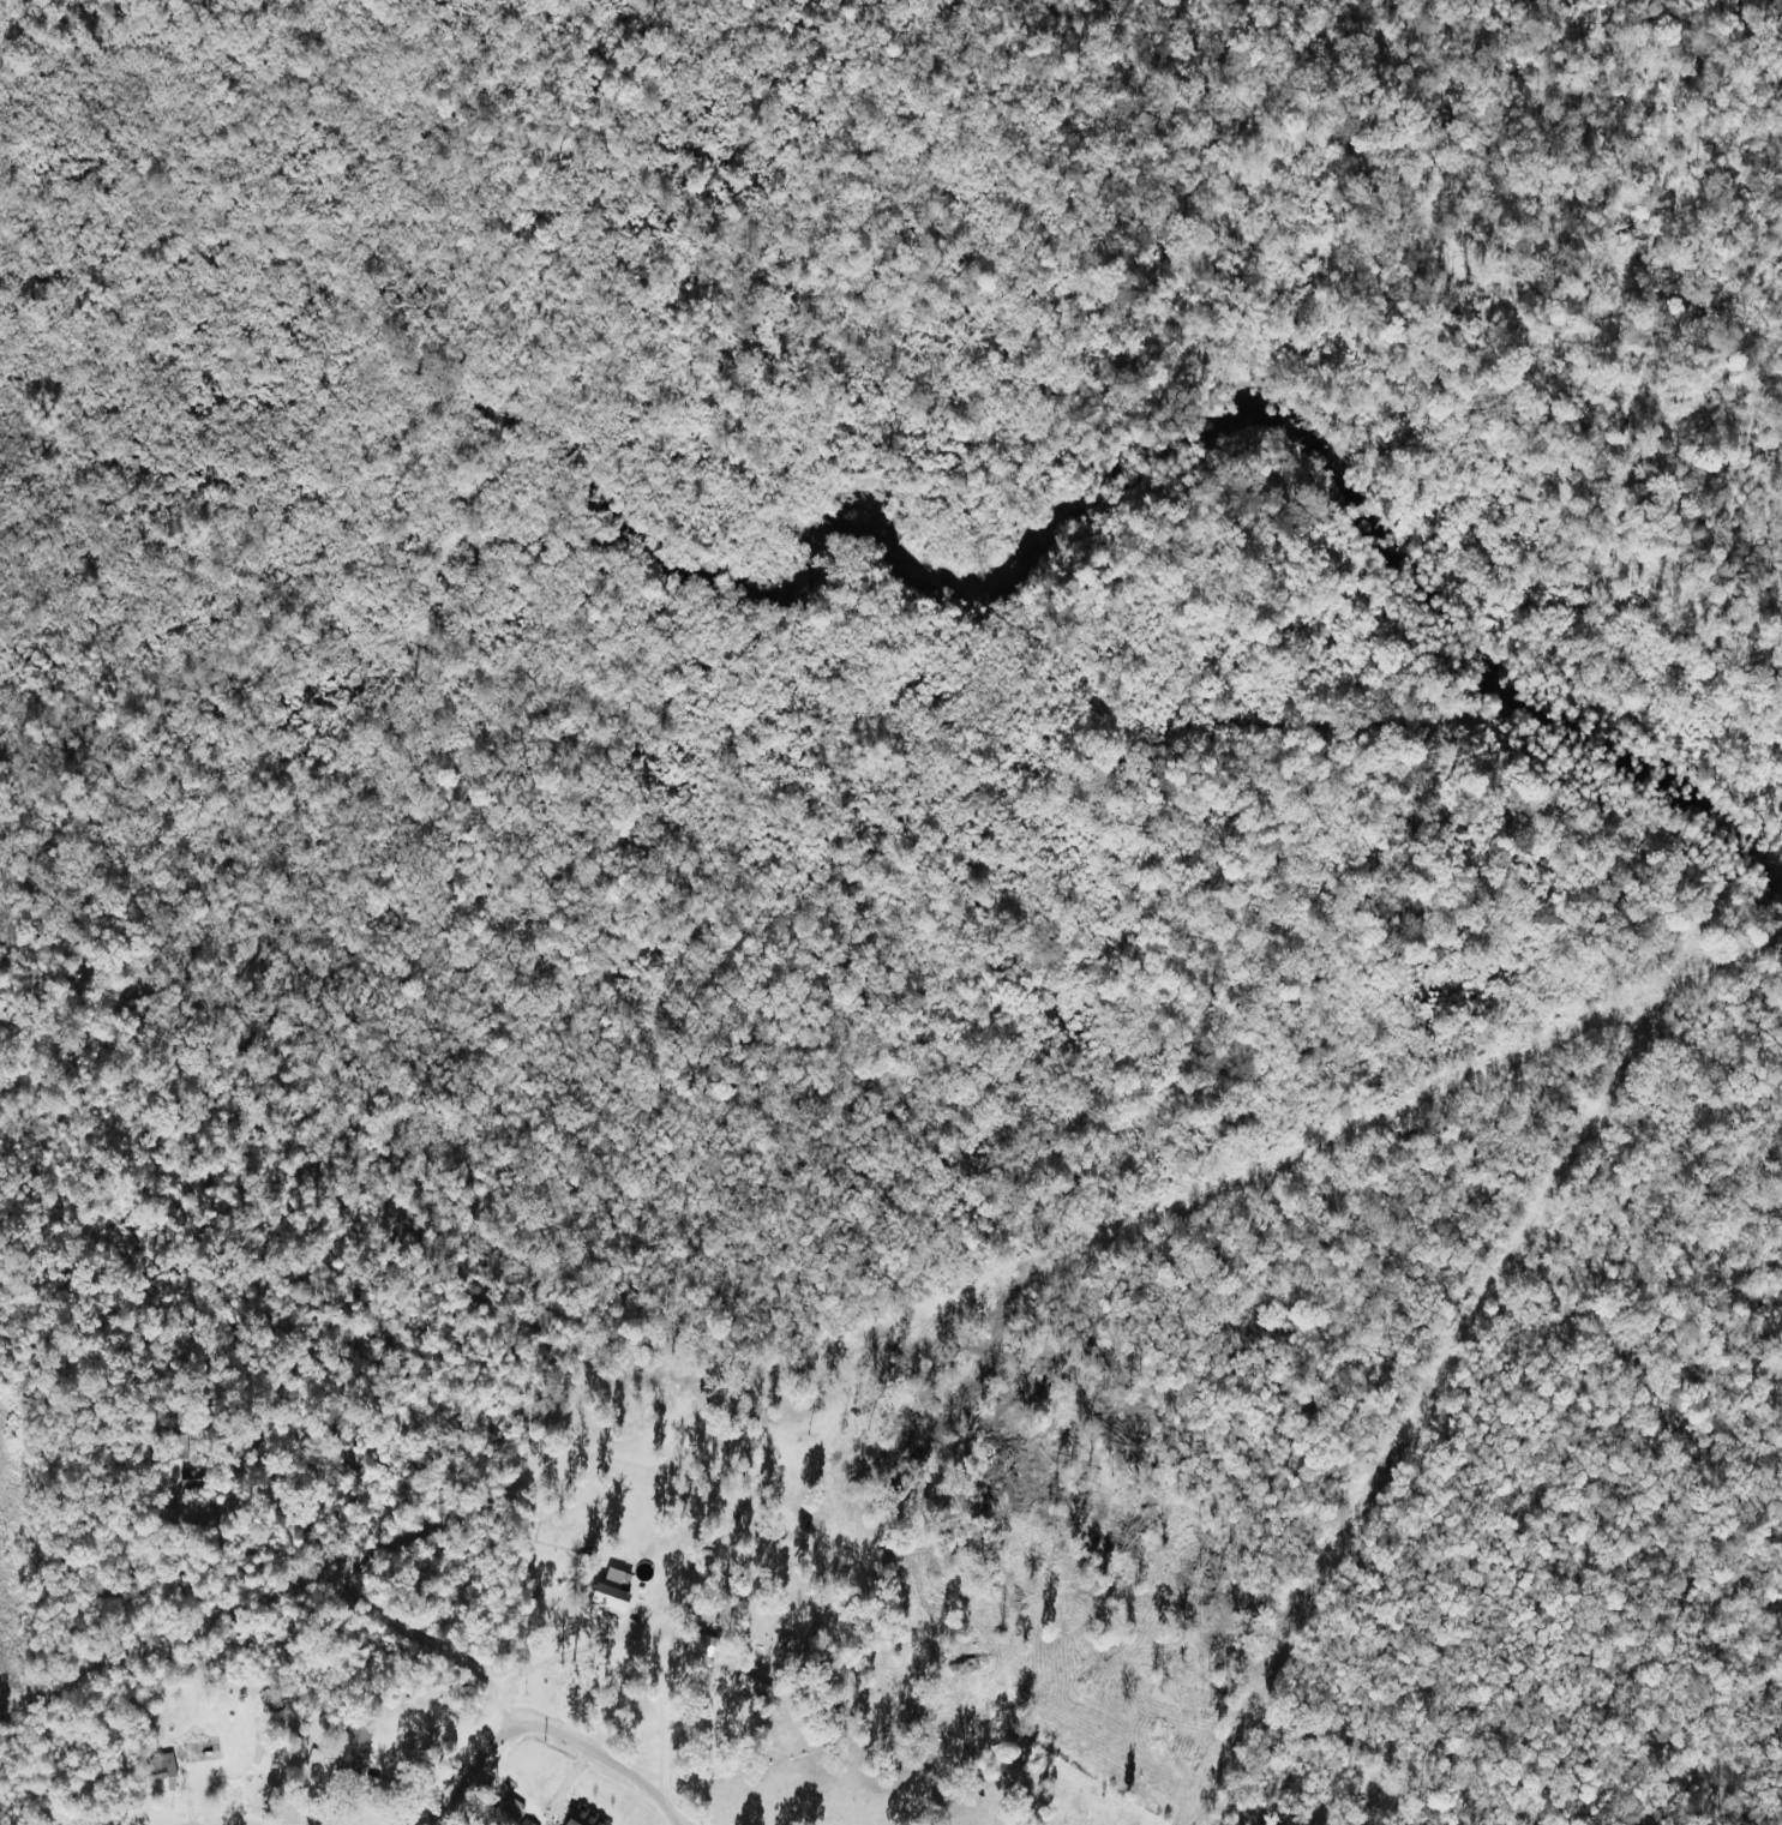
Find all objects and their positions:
building: (616, 1592)
road: (368, 1603)
road: (643, 1637)
building: (156, 1764)
road: (619, 1769)
road: (464, 1782)
building: (514, 1818)
building: (584, 1818)

